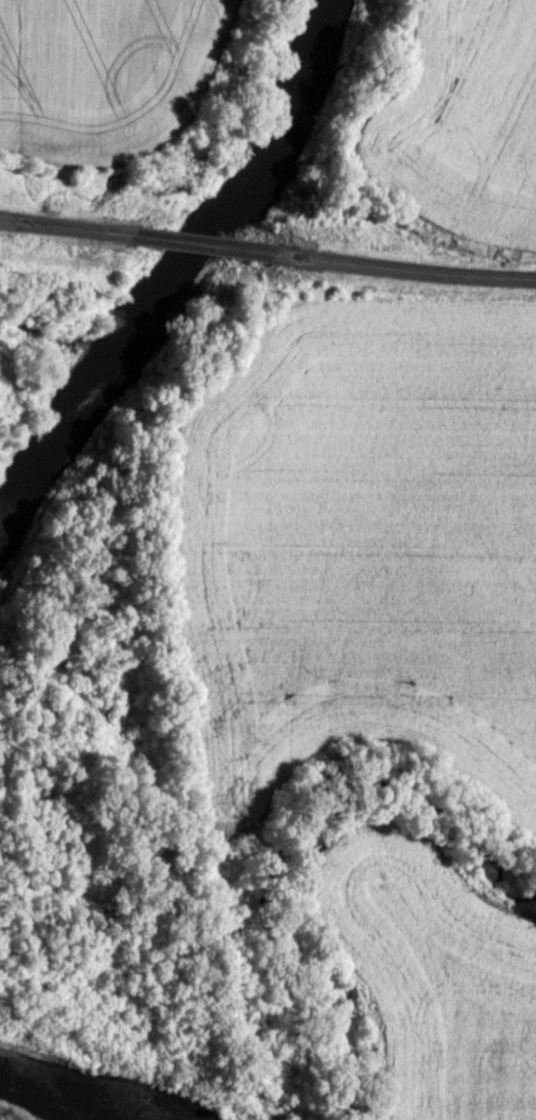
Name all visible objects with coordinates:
road: (57, 230)
road: (195, 241)
road: (406, 265)
river: (179, 280)
river: (82, 1088)

